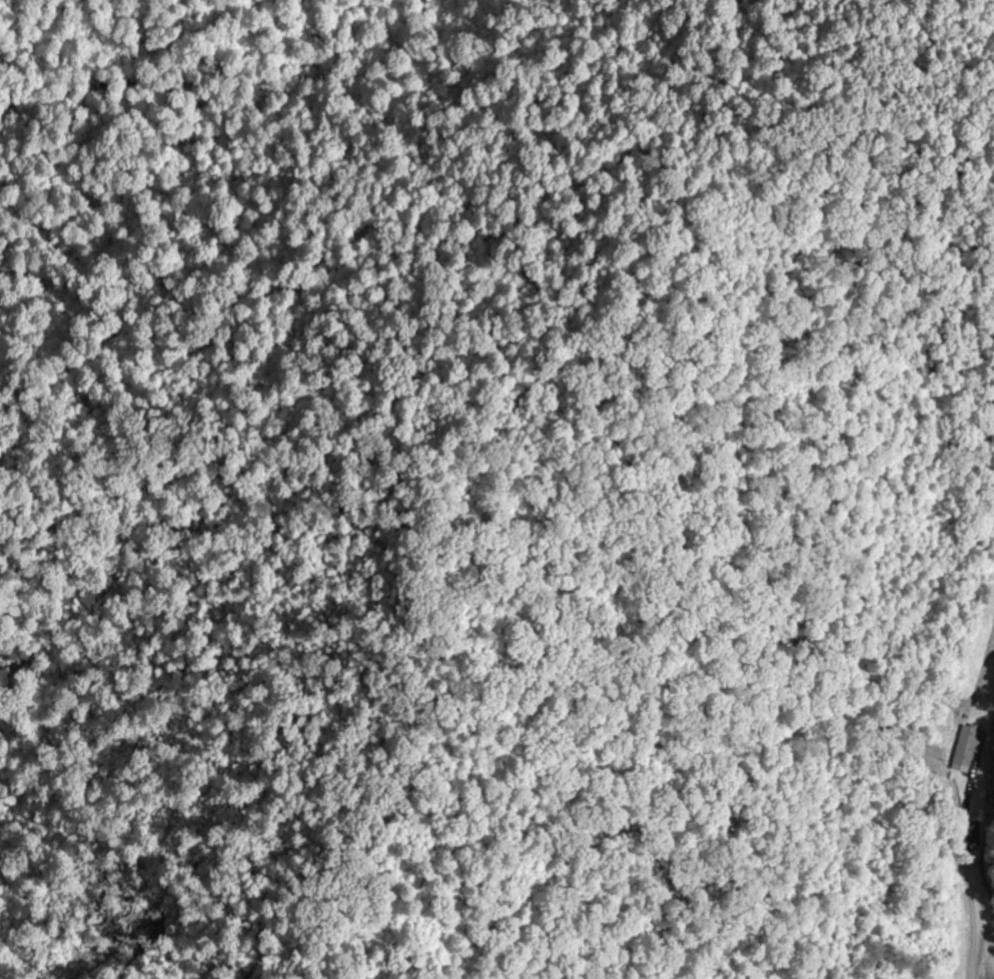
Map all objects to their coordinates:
building: (967, 749)

